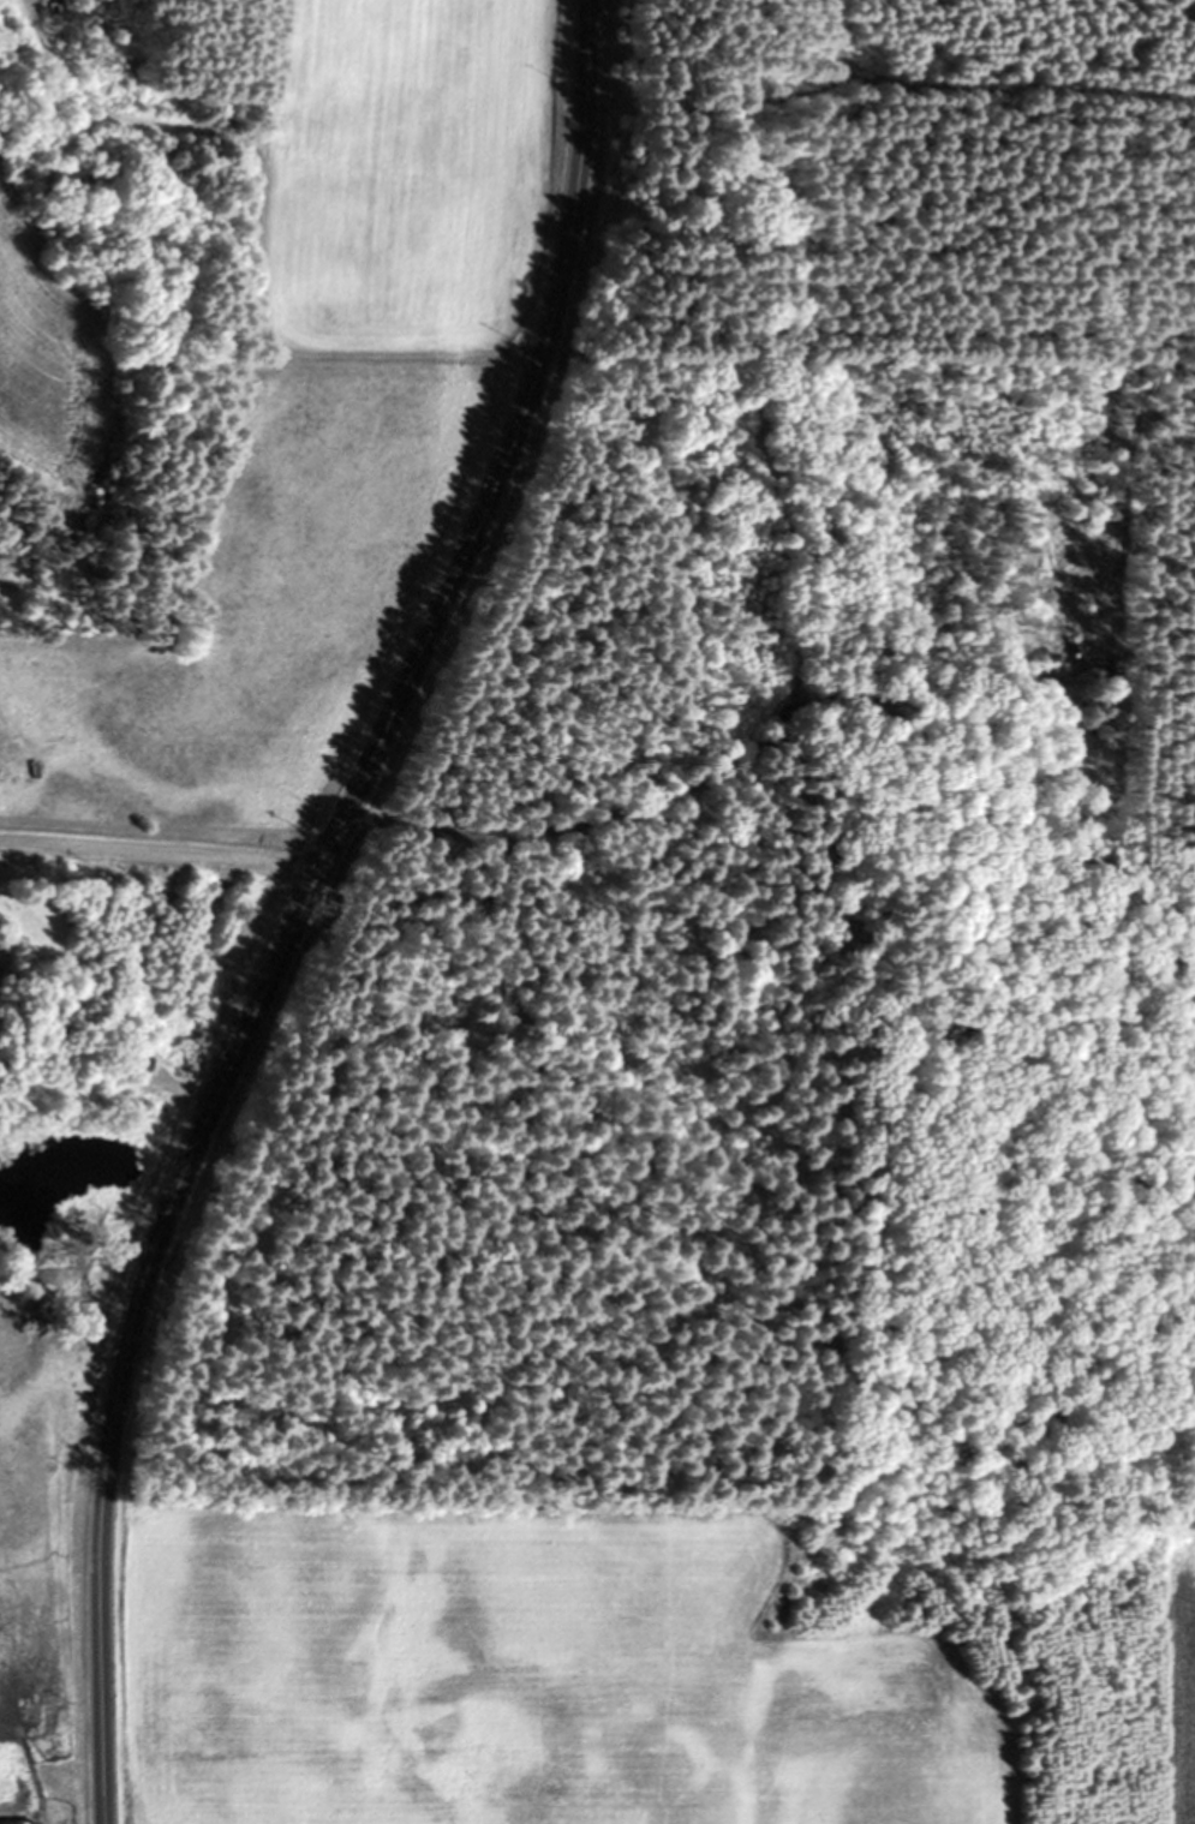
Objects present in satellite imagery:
road: (156, 859)
road: (778, 883)
road: (301, 903)
road: (1175, 1191)
road: (1130, 1300)
building: (19, 1823)

